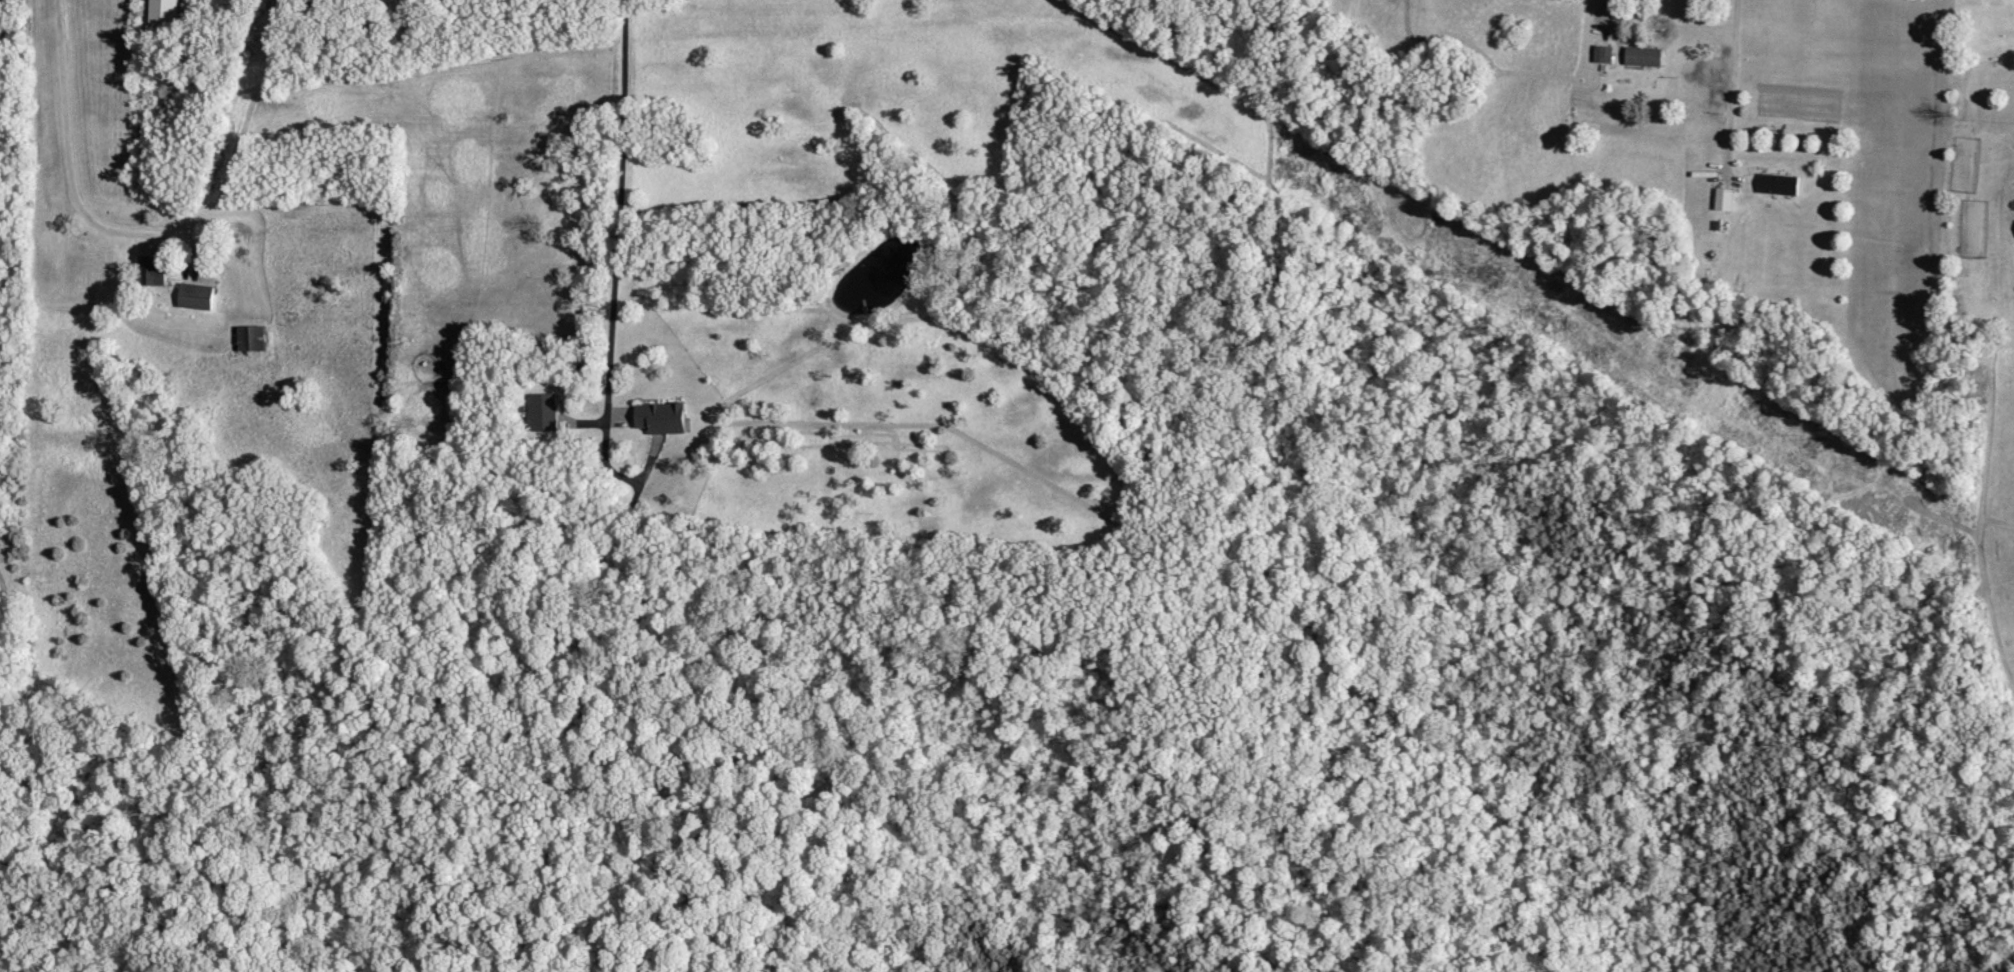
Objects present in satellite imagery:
building: (163, 11)
road: (1611, 25)
building: (1604, 55)
building: (1644, 57)
road: (1729, 82)
road: (65, 156)
building: (1779, 185)
building: (1725, 200)
building: (151, 272)
power tower: (1502, 274)
building: (196, 297)
building: (251, 339)
building: (544, 413)
building: (661, 418)

